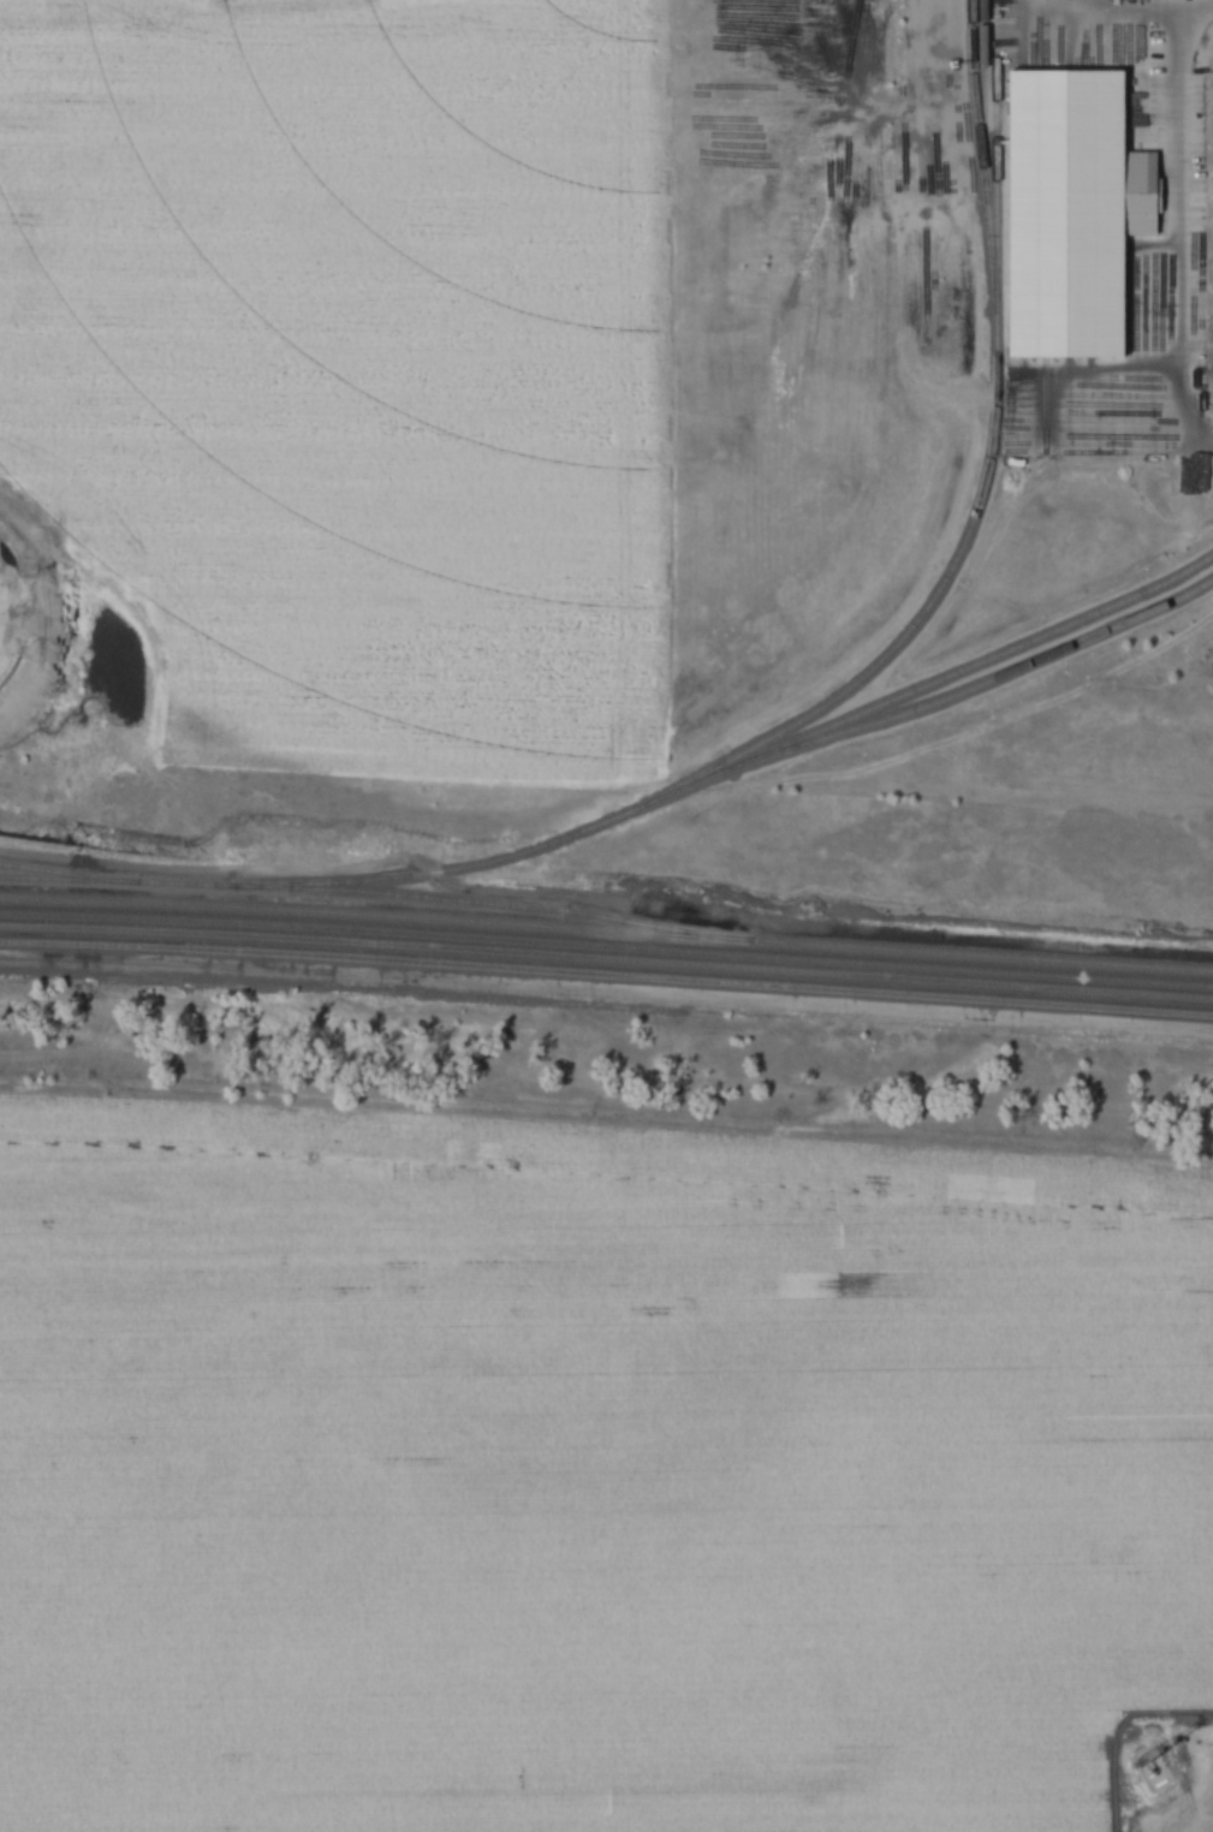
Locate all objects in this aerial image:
railway: (971, 89)
railway: (989, 454)
building: (11, 612)
railway: (1003, 662)
railway: (733, 759)
railway: (63, 873)
railway: (367, 894)
railway: (606, 930)
railway: (606, 945)
railway: (606, 958)
railway: (606, 975)
road: (606, 991)

